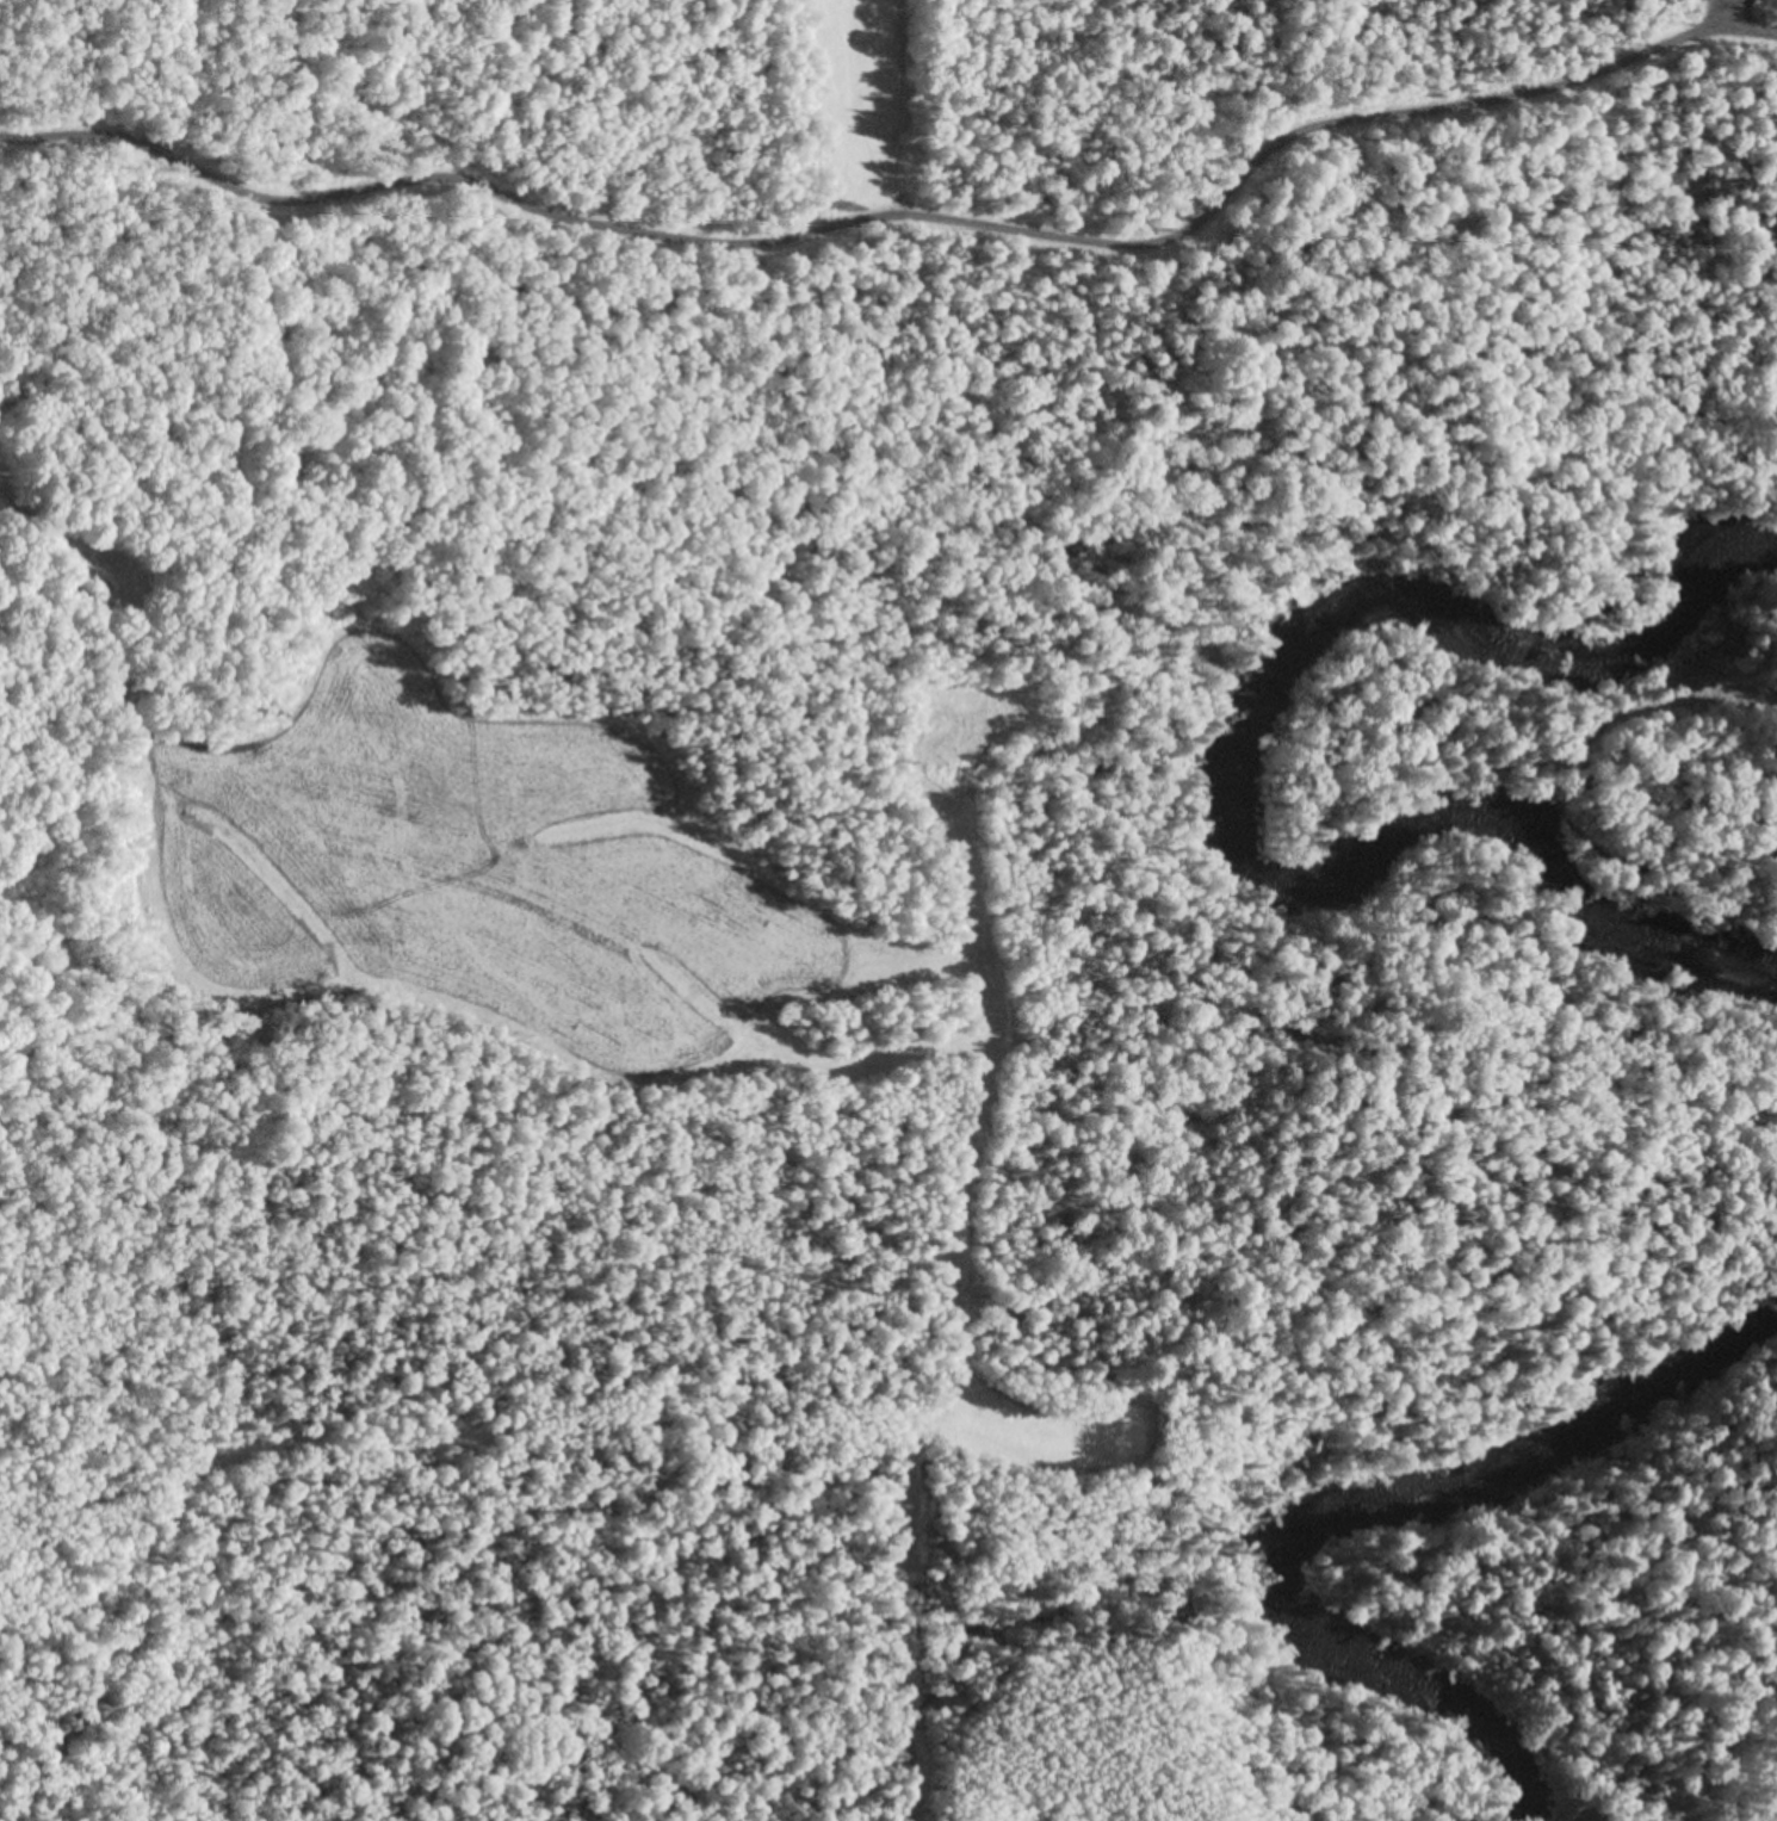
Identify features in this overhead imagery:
road: (899, 212)
river: (1255, 791)
river: (1389, 1506)

